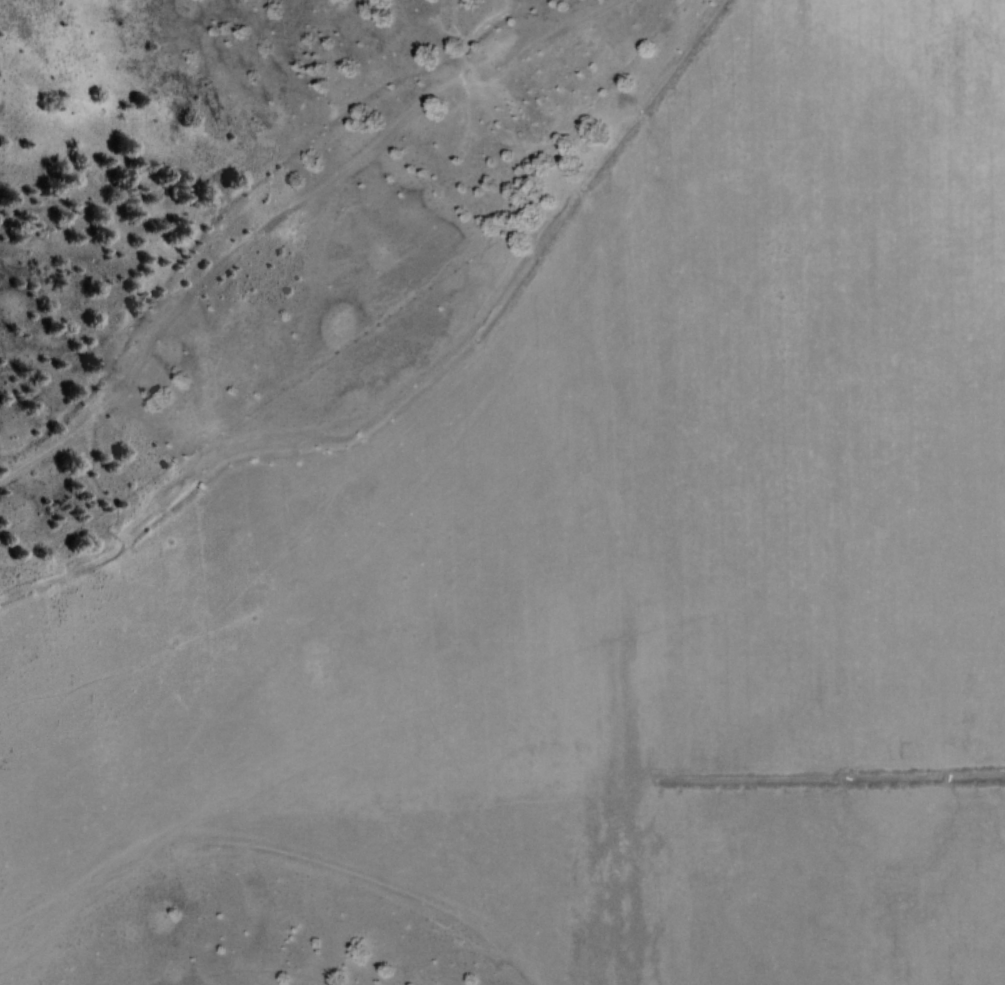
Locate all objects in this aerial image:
road: (287, 211)

